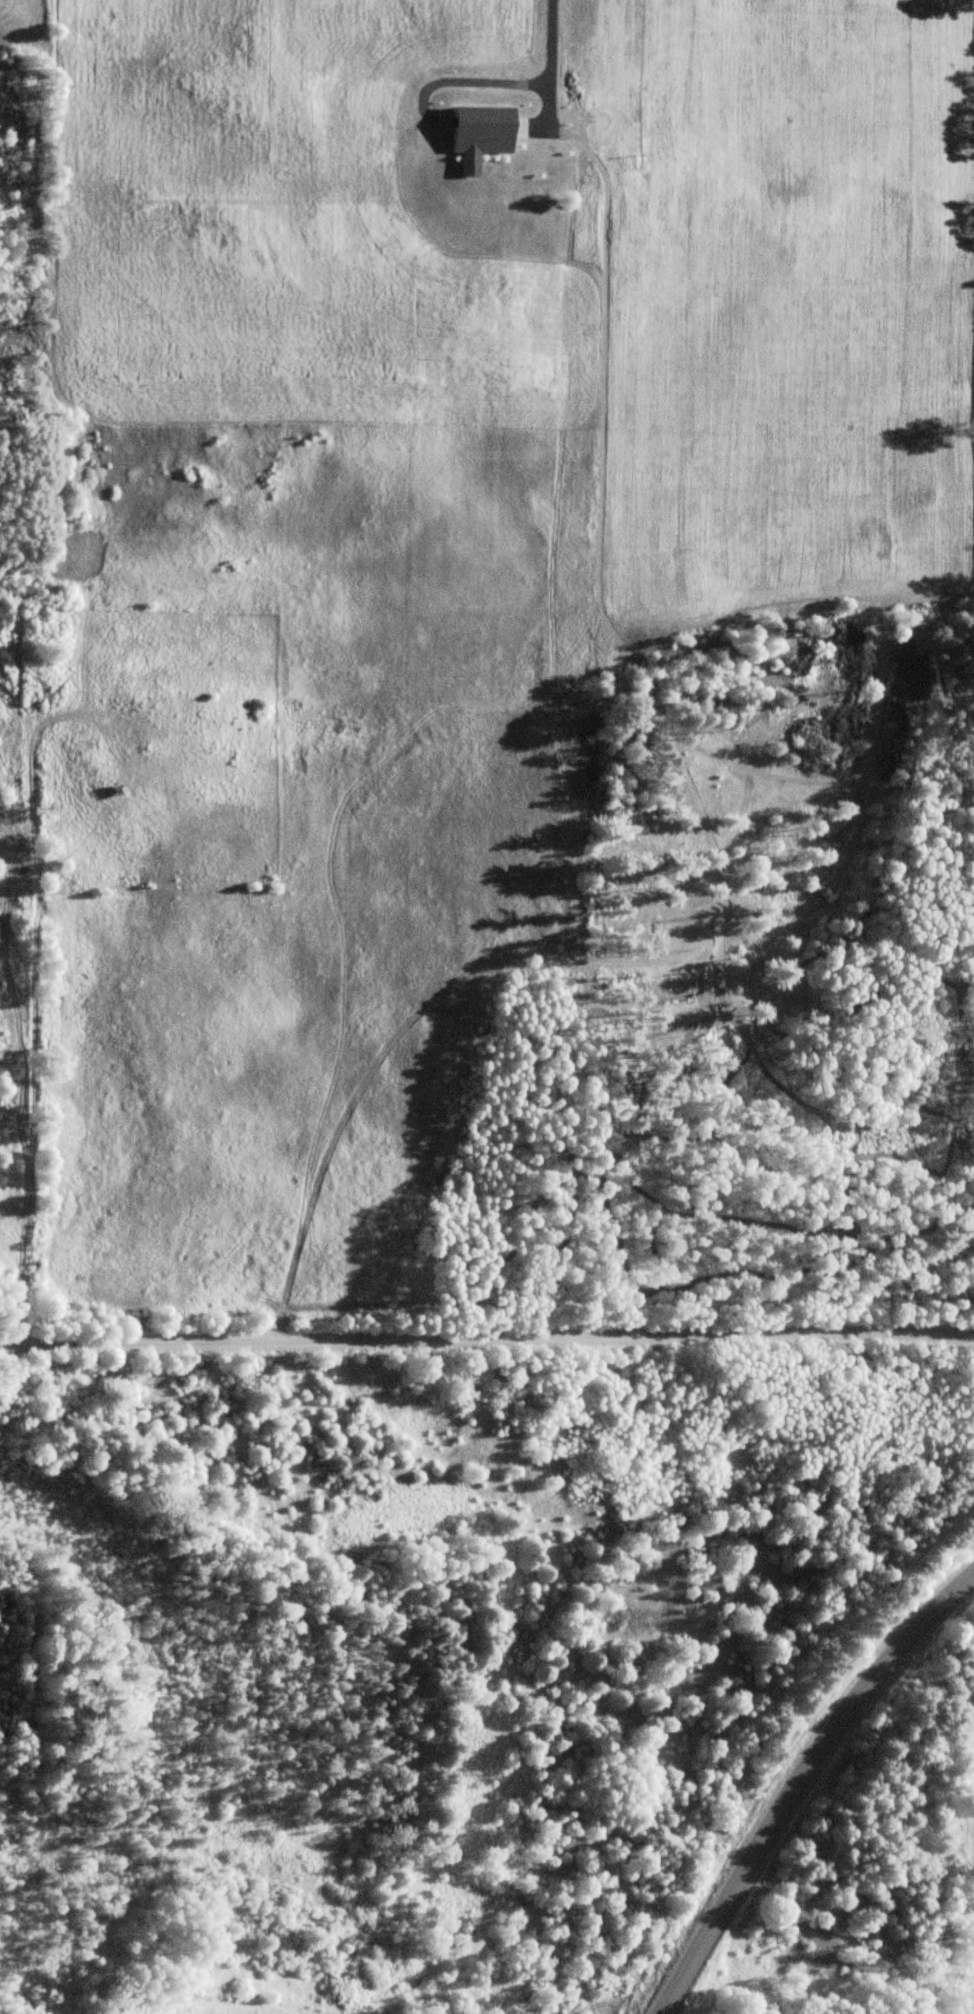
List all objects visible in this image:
building: (540, 664)
road: (487, 1336)
road: (793, 1777)

